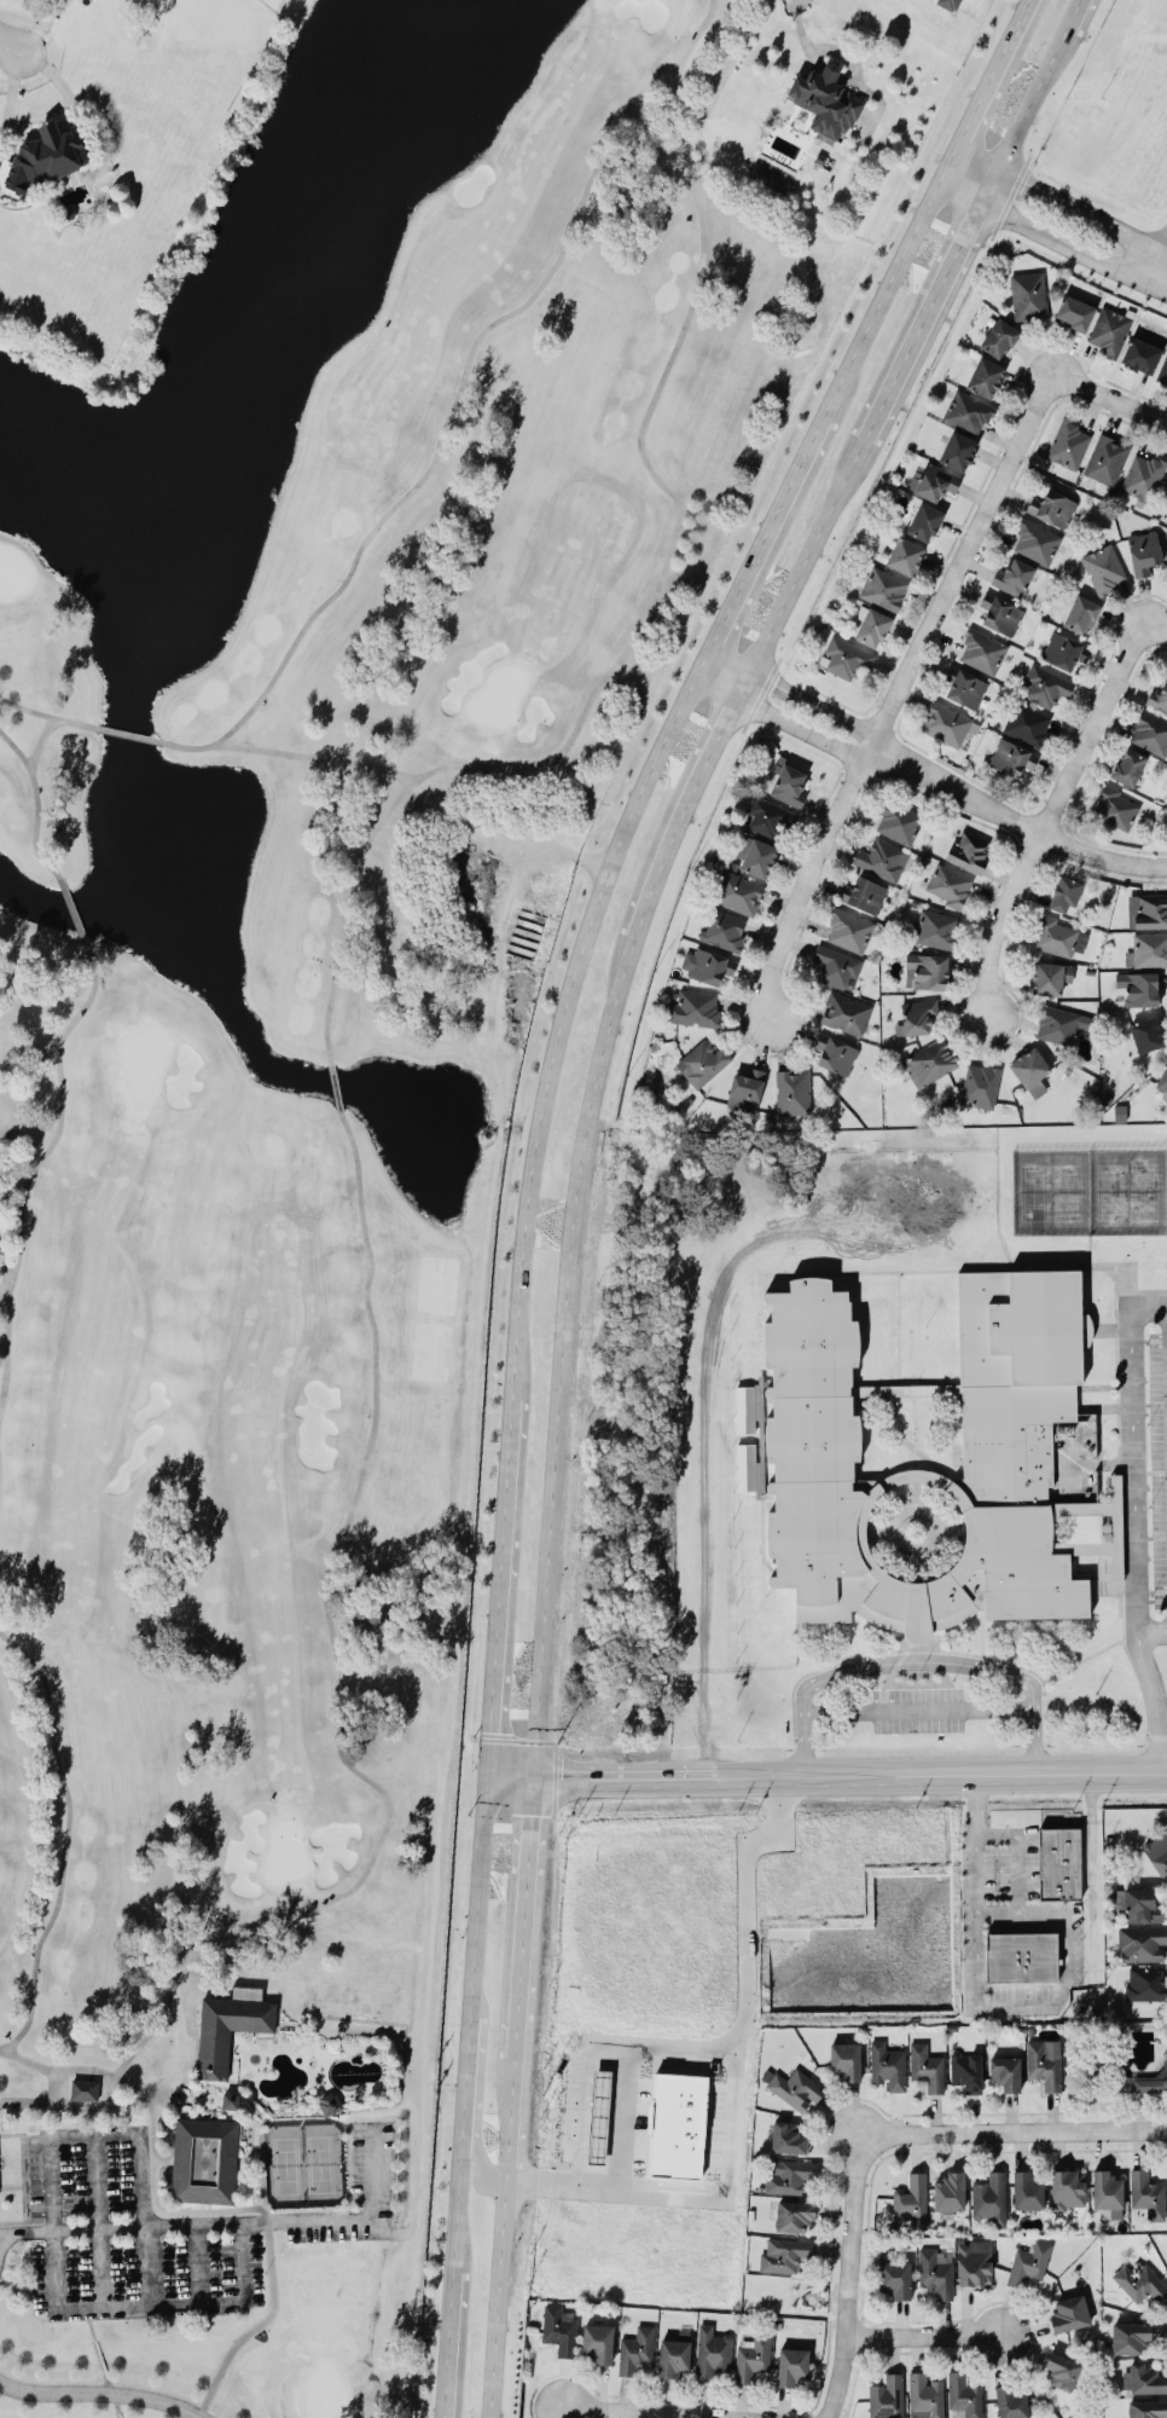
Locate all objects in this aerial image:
building: (948, 4)
road: (1073, 15)
road: (11, 47)
road: (998, 74)
building: (825, 100)
road: (1023, 116)
building: (43, 157)
road: (1063, 196)
road: (1052, 237)
road: (1159, 266)
road: (893, 280)
building: (1028, 295)
building: (1074, 312)
road: (921, 320)
building: (1108, 329)
building: (998, 337)
building: (1139, 354)
building: (1162, 368)
building: (985, 376)
road: (1111, 398)
building: (966, 410)
building: (1068, 441)
building: (957, 450)
building: (1104, 458)
building: (1143, 474)
building: (931, 480)
building: (1163, 499)
building: (1052, 507)
building: (923, 520)
road: (767, 532)
building: (1034, 539)
building: (1142, 550)
road: (807, 554)
building: (904, 555)
road: (959, 560)
building: (1103, 567)
building: (1012, 575)
building: (882, 586)
building: (999, 612)
building: (1080, 613)
building: (870, 625)
road: (1156, 626)
building: (981, 649)
building: (1063, 649)
building: (844, 656)
road: (728, 659)
road: (742, 684)
building: (963, 684)
building: (1044, 684)
building: (1157, 696)
road: (814, 704)
road: (780, 719)
building: (946, 722)
building: (1027, 722)
road: (1091, 728)
building: (1150, 731)
building: (1010, 756)
building: (1127, 765)
building: (789, 783)
building: (1115, 805)
road: (680, 816)
building: (767, 816)
road: (1014, 820)
building: (898, 821)
building: (968, 849)
building: (756, 856)
building: (878, 857)
road: (806, 883)
building: (946, 884)
building: (736, 891)
building: (863, 892)
building: (1064, 892)
building: (1150, 909)
road: (1000, 922)
building: (935, 927)
building: (722, 929)
building: (847, 929)
building: (1058, 935)
building: (1146, 948)
building: (706, 964)
building: (835, 964)
building: (925, 970)
building: (1049, 976)
building: (1139, 987)
building: (693, 1007)
road: (564, 1008)
building: (844, 1012)
building: (916, 1014)
building: (1059, 1023)
building: (1145, 1032)
building: (834, 1052)
building: (701, 1060)
building: (929, 1062)
building: (1029, 1069)
building: (1161, 1081)
building: (980, 1083)
building: (744, 1088)
building: (792, 1091)
park: (308, 1110)
park: (1088, 1188)
road: (561, 1353)
road: (1132, 1447)
building: (812, 1451)
parking lot: (1156, 1462)
road: (499, 1583)
road: (1151, 1629)
road: (912, 1660)
road: (1155, 1696)
road: (917, 1707)
parking lot: (918, 1708)
road: (1033, 1716)
traffic signals: (488, 1729)
road: (803, 1746)
road: (1033, 1746)
road: (946, 1769)
road: (629, 1772)
road: (509, 1774)
road: (976, 1788)
traffic signals: (530, 1813)
road: (976, 1821)
building: (1157, 1851)
road: (1016, 1852)
building: (1058, 1861)
road: (1091, 1869)
building: (1137, 1902)
road: (995, 1911)
road: (523, 1915)
building: (1140, 1942)
building: (1021, 1955)
building: (1144, 1982)
road: (477, 1998)
road: (1000, 2006)
road: (468, 2021)
building: (228, 2025)
road: (708, 2049)
building: (843, 2060)
building: (1041, 2064)
building: (886, 2065)
building: (925, 2065)
building: (966, 2069)
building: (1004, 2070)
building: (1146, 2079)
building: (602, 2084)
building: (791, 2086)
building: (83, 2089)
road: (586, 2093)
building: (230, 2099)
building: (329, 2101)
road: (478, 2106)
building: (678, 2124)
road: (510, 2125)
road: (1064, 2131)
road: (94, 2135)
building: (786, 2136)
building: (204, 2158)
road: (726, 2174)
building: (786, 2174)
building: (1026, 2188)
building: (1067, 2188)
building: (1105, 2188)
building: (948, 2192)
building: (1146, 2193)
building: (989, 2197)
building: (910, 2199)
building: (794, 2215)
road: (144, 2219)
road: (98, 2221)
road: (232, 2222)
road: (52, 2223)
road: (854, 2227)
building: (784, 2254)
road: (240, 2261)
building: (972, 2261)
building: (1028, 2261)
road: (196, 2263)
building: (935, 2271)
building: (894, 2277)
building: (1139, 2281)
road: (149, 2304)
road: (498, 2306)
building: (1067, 2312)
building: (558, 2329)
road: (925, 2335)
building: (1130, 2336)
building: (597, 2341)
road: (448, 2344)
building: (634, 2348)
building: (710, 2352)
building: (674, 2354)
building: (751, 2356)
building: (792, 2364)
building: (1061, 2368)
building: (1142, 2376)
road: (103, 2391)
building: (886, 2395)
building: (924, 2395)
building: (964, 2395)
building: (1010, 2400)
building: (1145, 2408)
road: (646, 2413)

